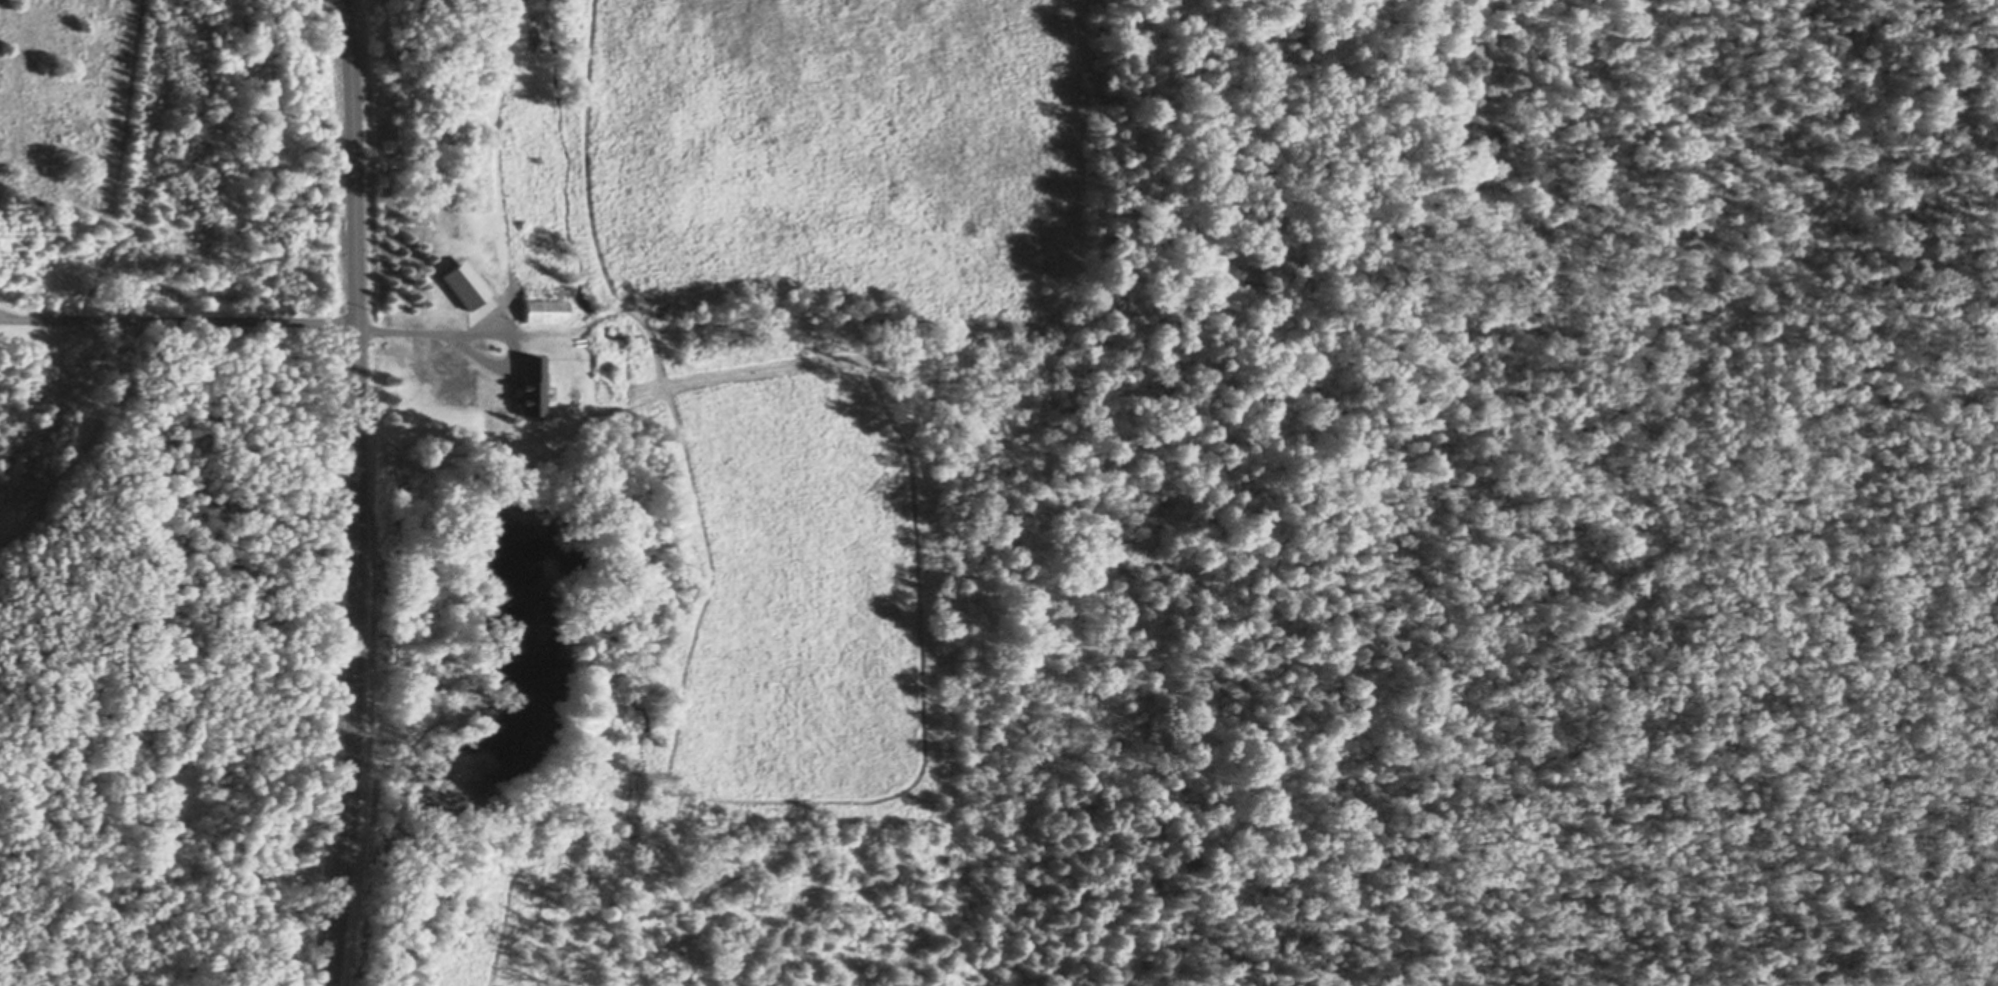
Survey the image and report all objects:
building: (547, 307)
road: (5, 317)
road: (178, 319)
road: (427, 334)
building: (532, 382)
road: (357, 493)

